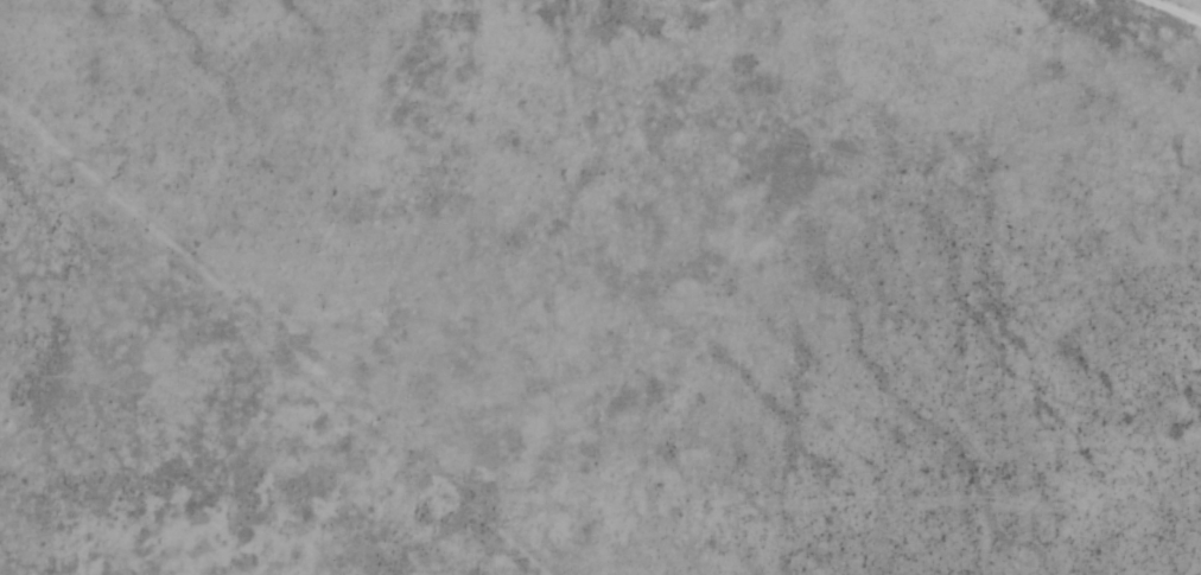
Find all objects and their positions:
road: (1174, 11)

